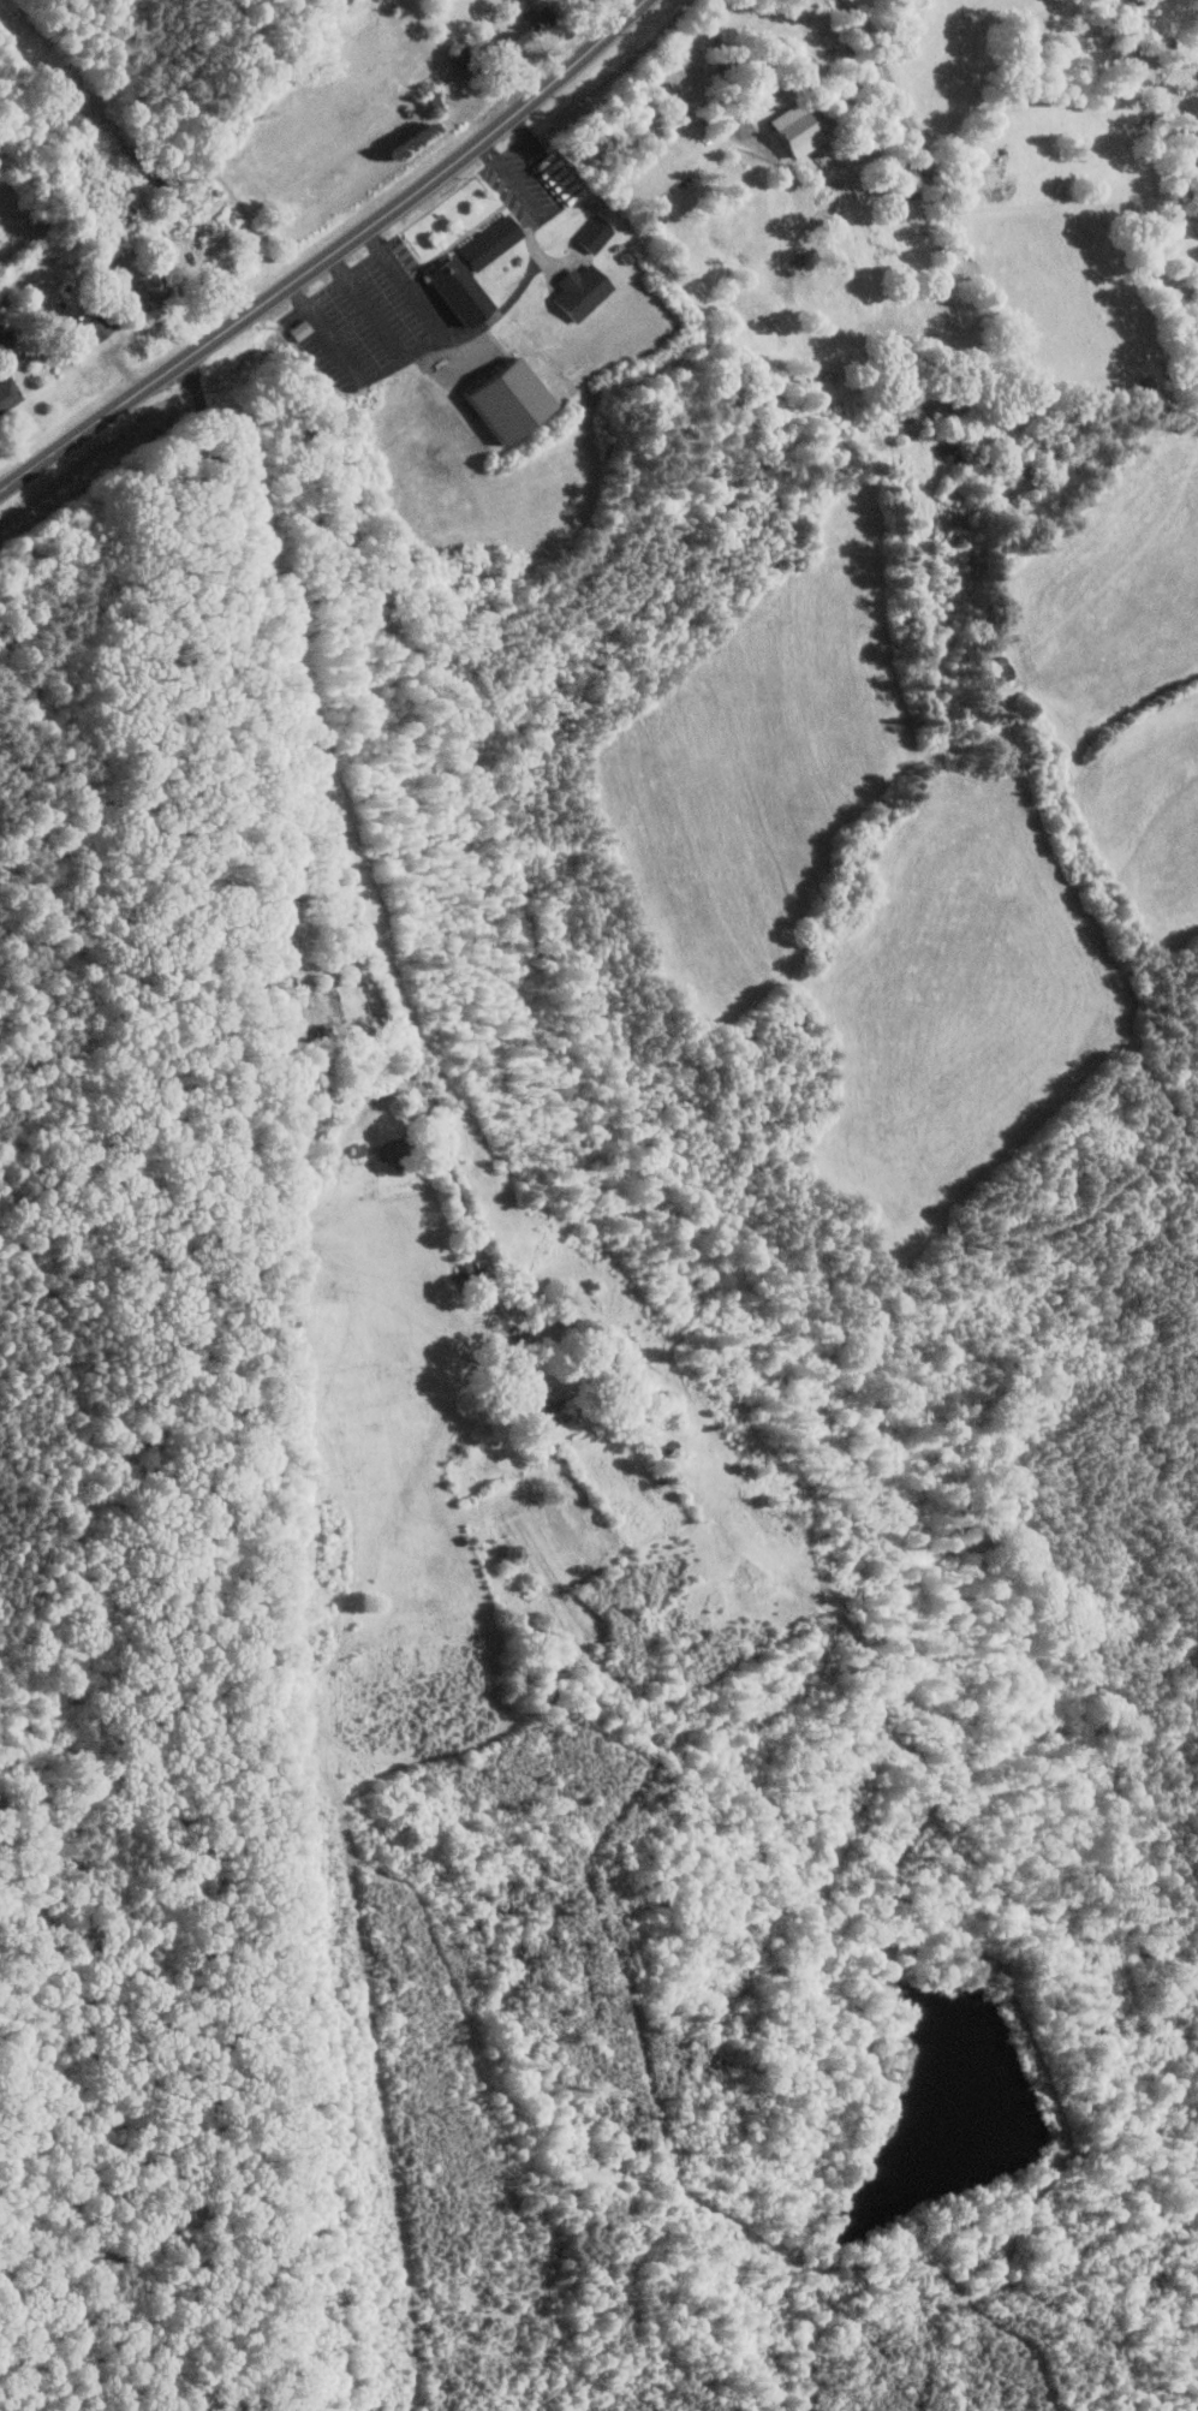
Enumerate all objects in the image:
road: (723, 66)
building: (794, 127)
road: (561, 204)
building: (592, 232)
road: (329, 256)
building: (470, 268)
building: (579, 290)
road: (368, 306)
building: (96, 322)
road: (406, 355)
building: (7, 391)
building: (503, 397)
building: (997, 668)
road: (330, 871)
building: (280, 931)
building: (358, 1148)
building: (389, 1148)

